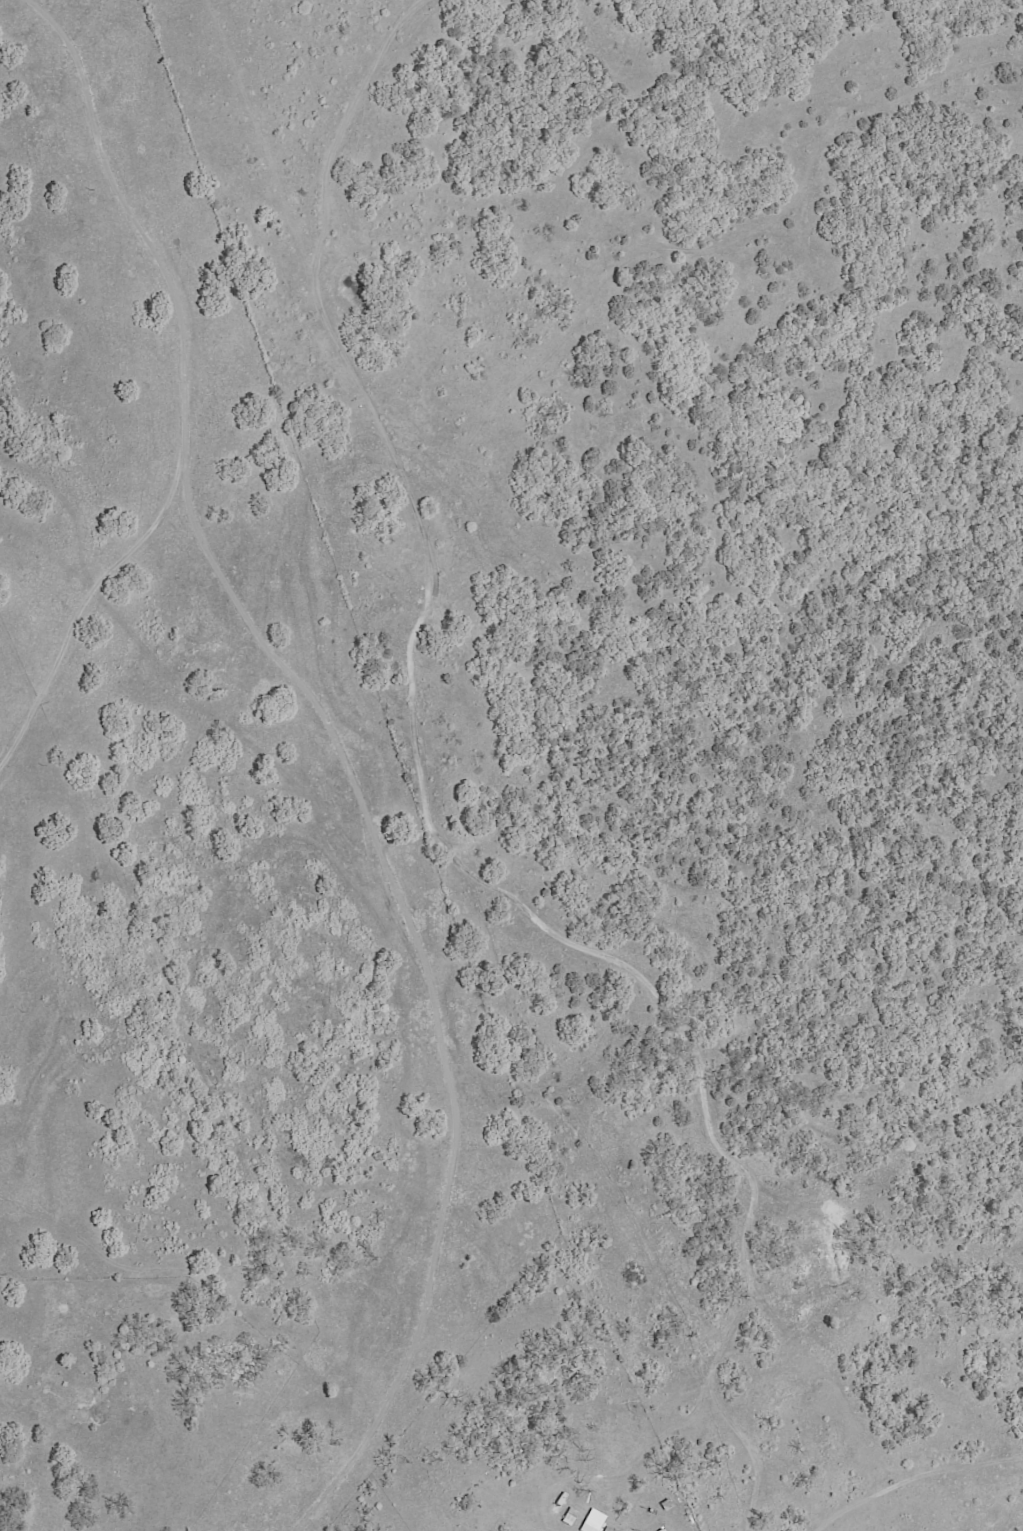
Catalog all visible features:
building: (566, 1516)
building: (589, 1521)
building: (604, 1529)

